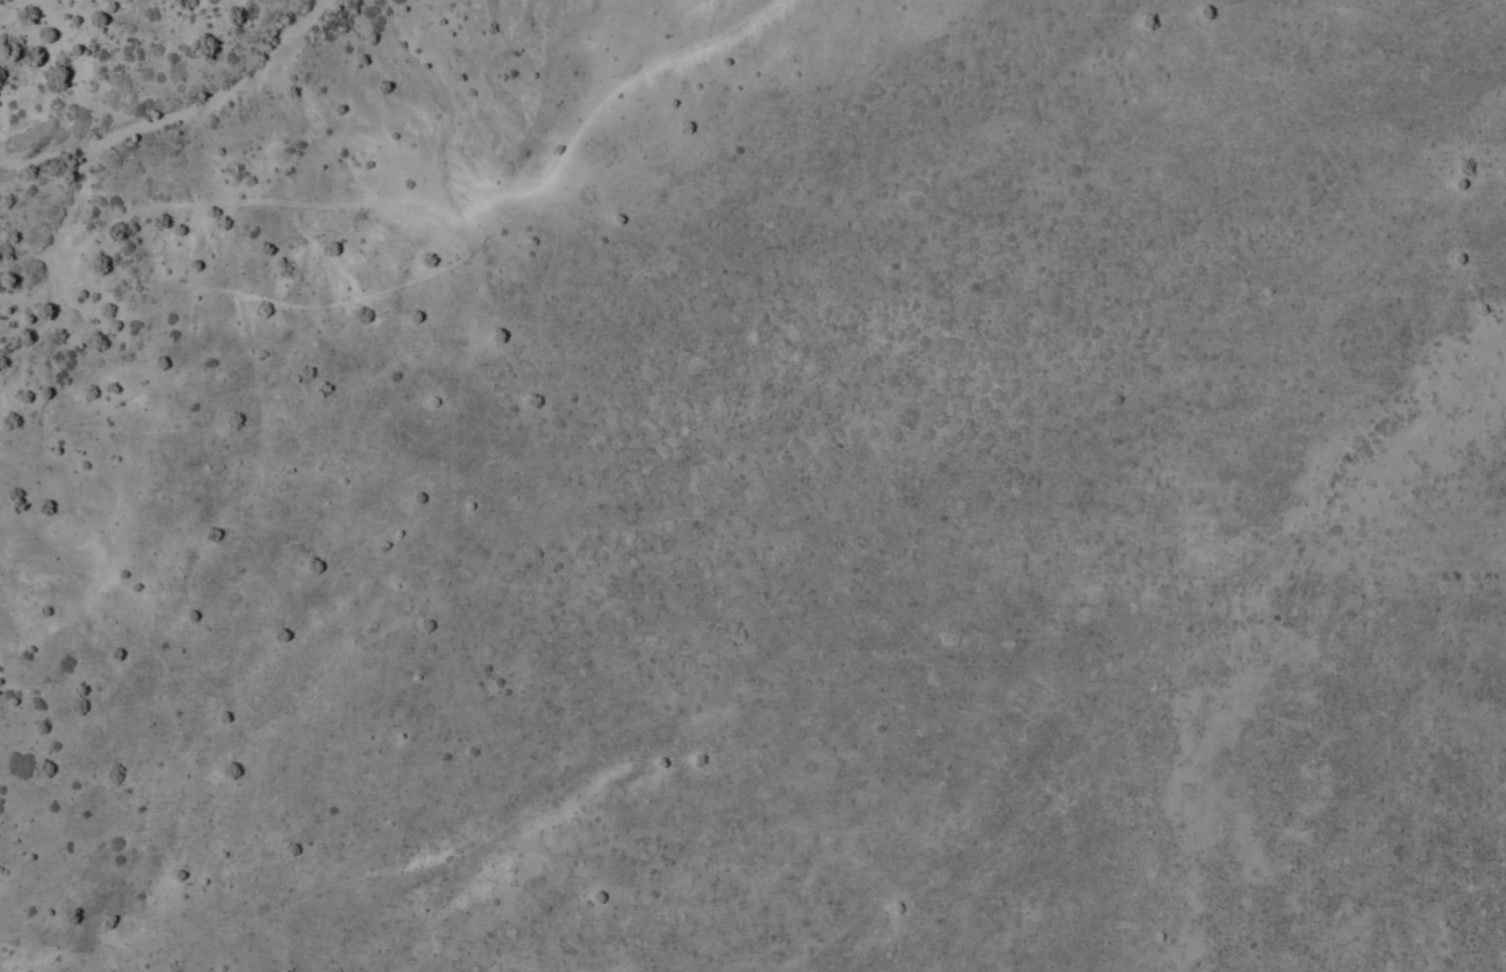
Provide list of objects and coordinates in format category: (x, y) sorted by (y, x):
road: (344, 167)

